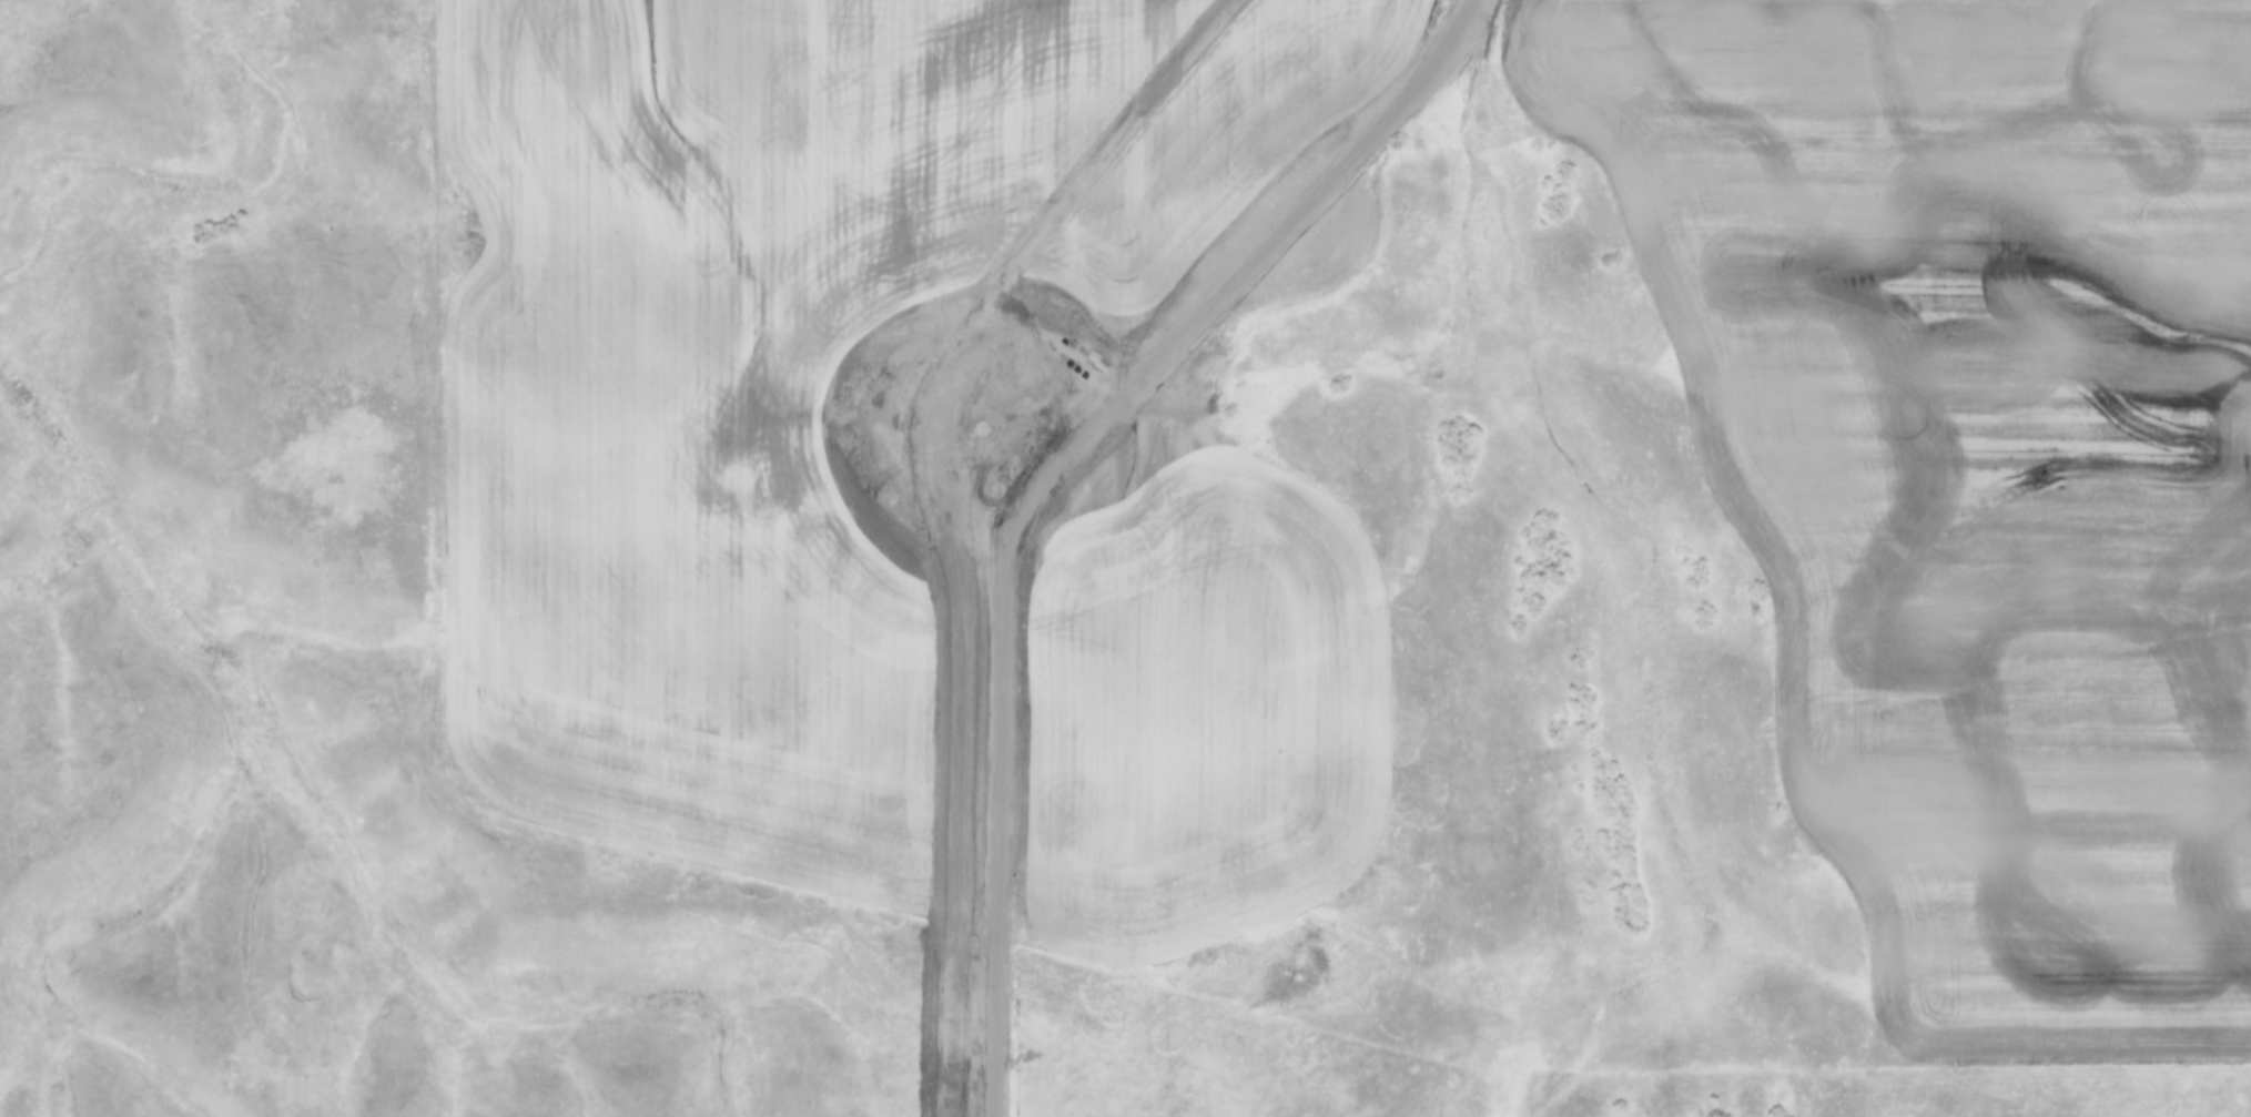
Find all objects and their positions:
wind turbine: (982, 427)

